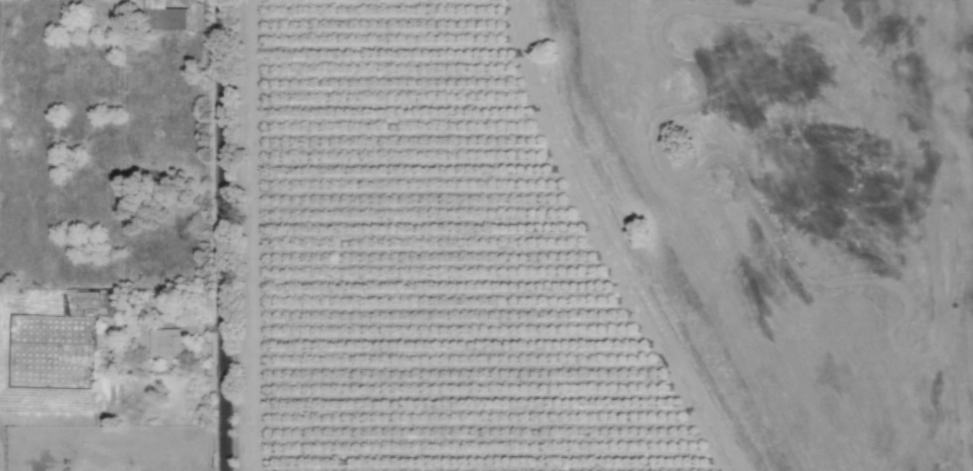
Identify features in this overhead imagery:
building: (165, 16)
road: (219, 235)
building: (163, 343)

